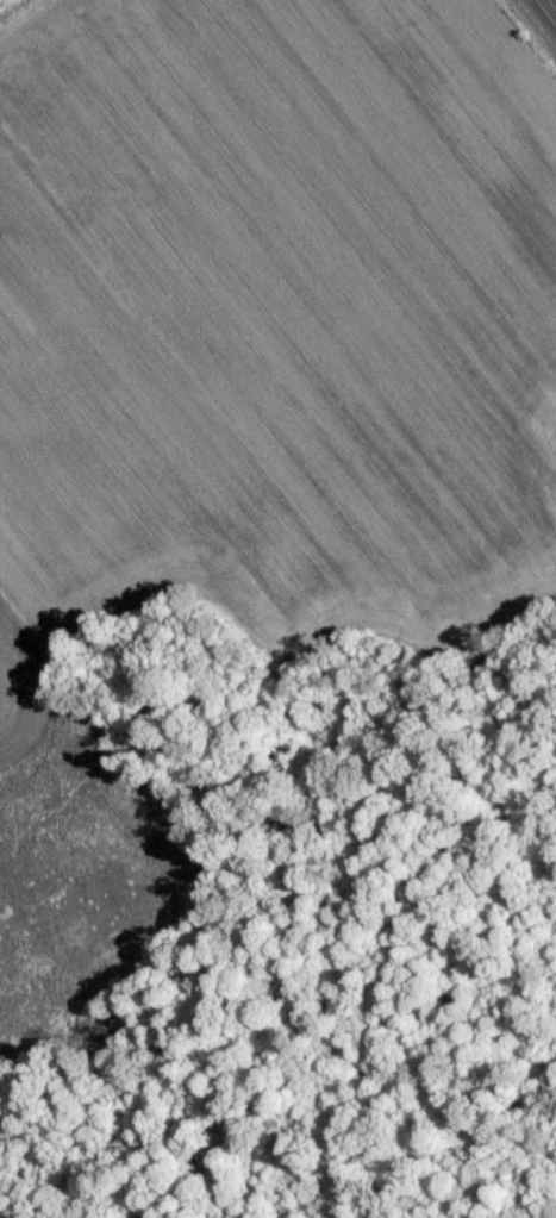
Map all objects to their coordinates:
road: (541, 4)
road: (543, 15)

